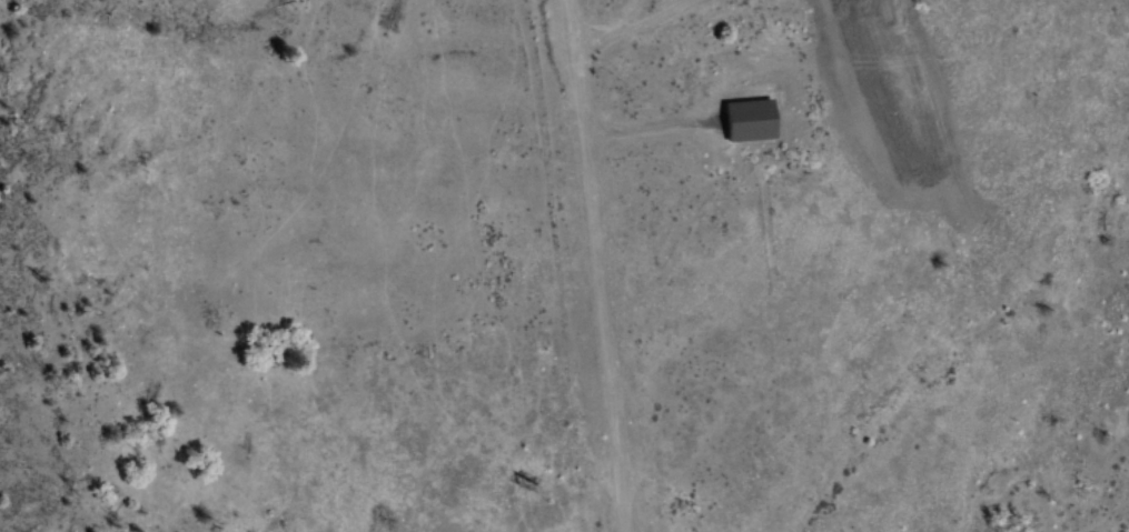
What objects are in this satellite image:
road: (598, 265)

